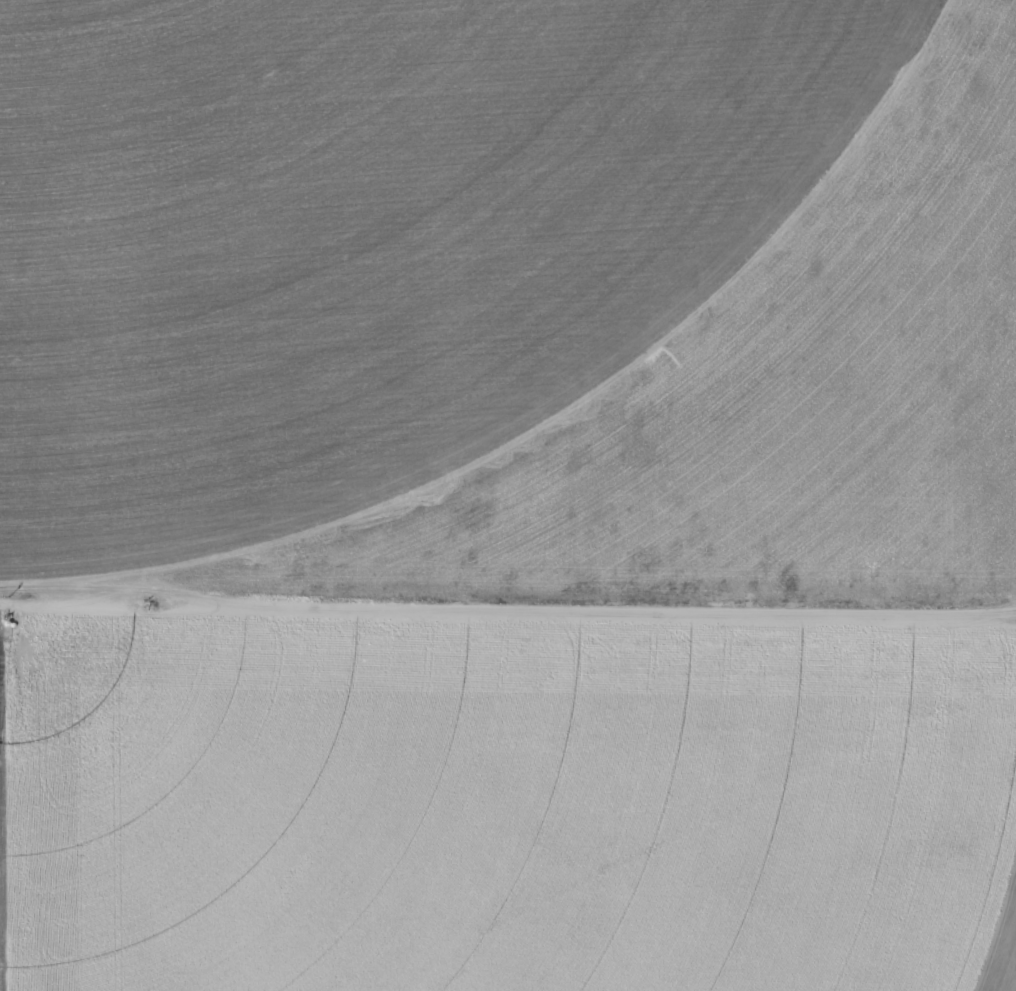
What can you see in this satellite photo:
road: (508, 598)

